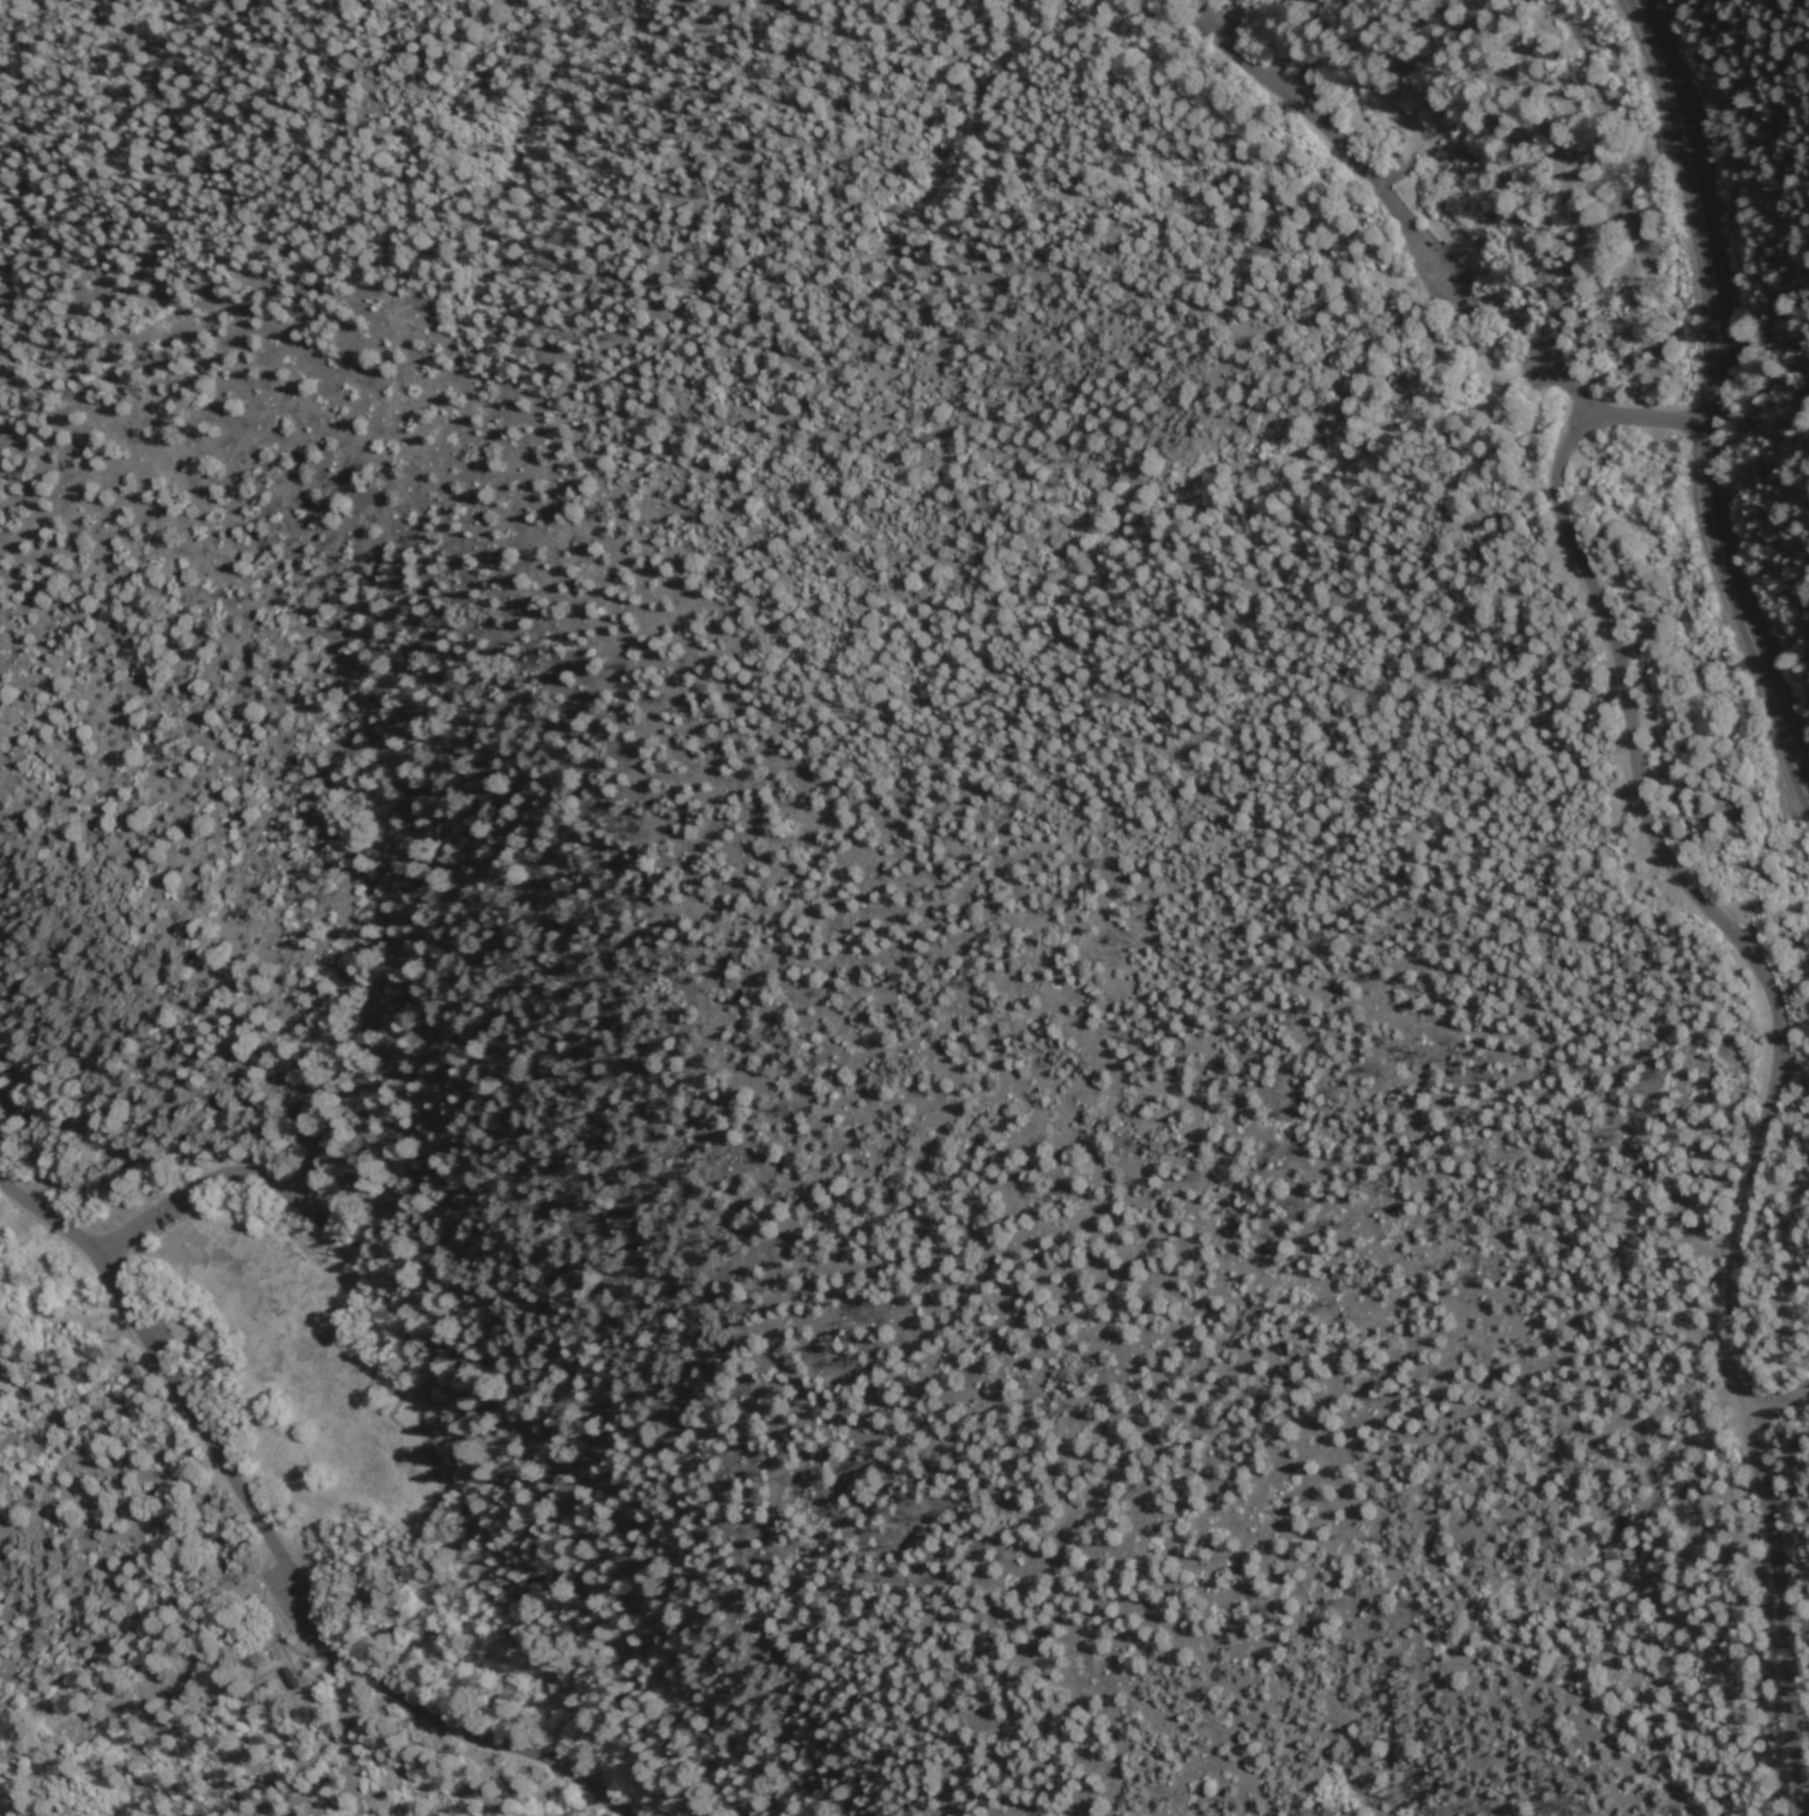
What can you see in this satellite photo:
road: (1184, 7)
parking lot: (1220, 22)
road: (1259, 38)
parking lot: (1302, 90)
road: (1411, 91)
road: (1505, 95)
road: (1612, 119)
parking lot: (1391, 173)
road: (1400, 205)
road: (1678, 266)
parking lot: (1443, 274)
parking lot: (1536, 370)
road: (1709, 408)
road: (1783, 1025)
road: (95, 1165)
road: (211, 1180)
parking lot: (310, 1196)
parking lot: (153, 1224)
road: (379, 1281)
road: (961, 1302)
parking lot: (161, 1334)
road: (390, 1390)
road: (1779, 1395)
road: (451, 1456)
road: (478, 1467)
road: (436, 1485)
road: (427, 1528)
road: (277, 1542)
road: (409, 1556)
road: (391, 1576)
parking lot: (310, 1617)
road: (495, 1642)
road: (376, 1643)
road: (1701, 1645)
road: (472, 1654)
road: (451, 1665)
road: (243, 1667)
road: (626, 1715)

